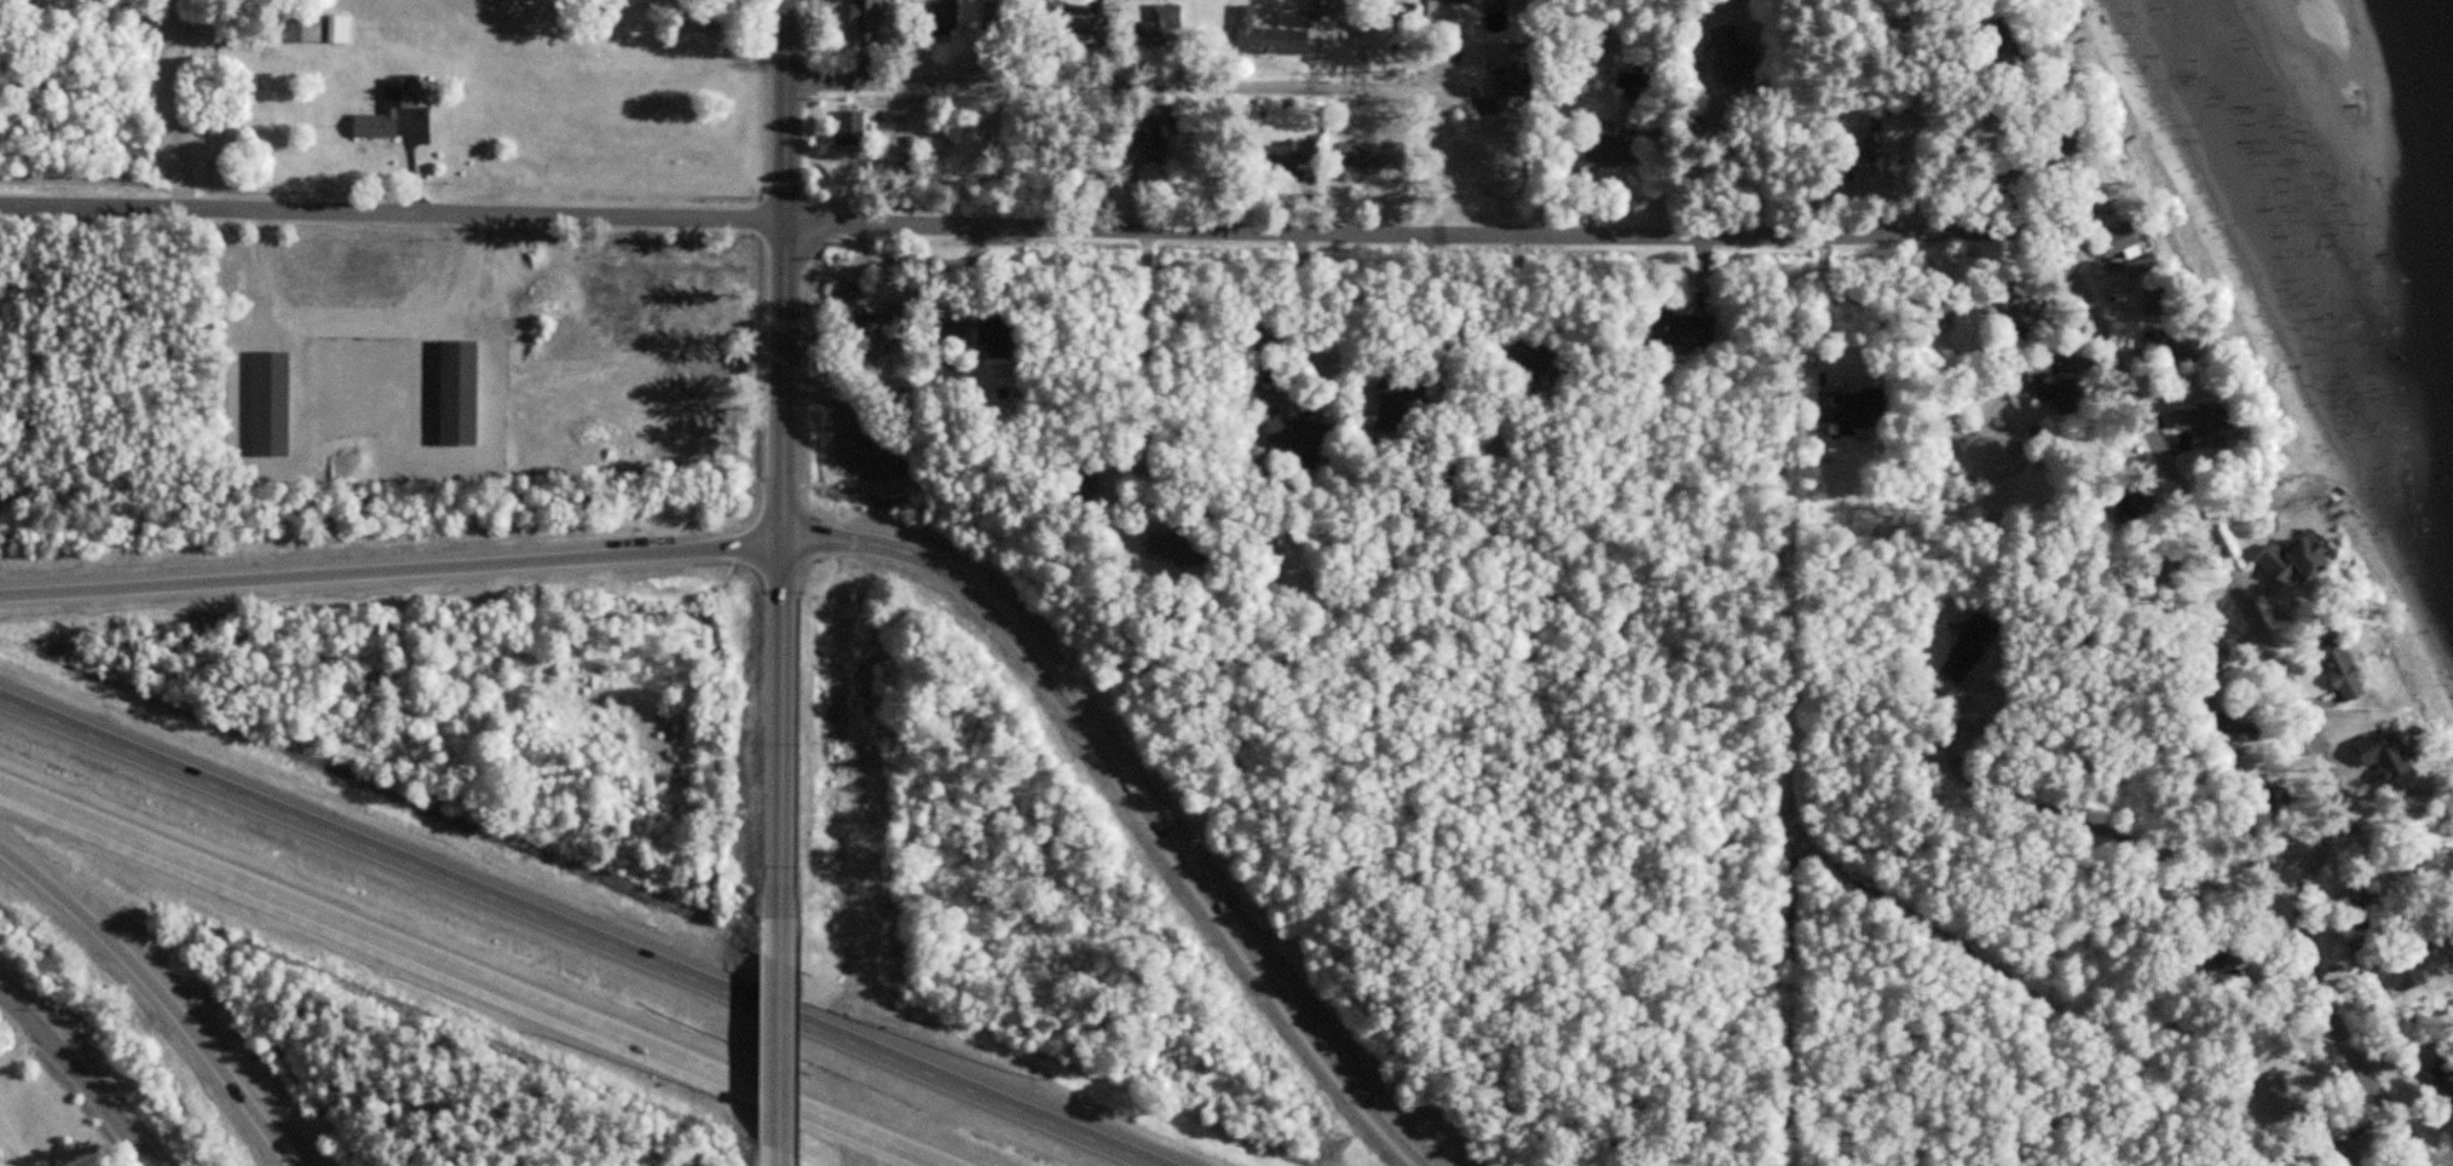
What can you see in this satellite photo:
building: (1323, 7)
building: (998, 15)
building: (941, 18)
building: (868, 21)
building: (1079, 23)
building: (1164, 24)
building: (302, 27)
river: (2446, 28)
building: (341, 29)
building: (1271, 36)
building: (1732, 54)
road: (1132, 86)
building: (394, 112)
building: (853, 128)
building: (1898, 138)
building: (1158, 142)
building: (1612, 149)
building: (1373, 155)
building: (1283, 156)
building: (1487, 166)
road: (394, 213)
road: (1413, 231)
building: (2136, 242)
building: (848, 300)
building: (2169, 302)
building: (2026, 308)
building: (887, 325)
building: (1685, 330)
building: (956, 334)
building: (998, 337)
building: (2172, 347)
building: (1542, 358)
building: (2061, 391)
building: (1403, 402)
building: (1857, 409)
road: (1148, 411)
building: (2214, 425)
building: (1305, 441)
road: (781, 467)
building: (1177, 546)
building: (2304, 559)
road: (389, 570)
building: (1972, 646)
building: (2350, 669)
road: (2293, 692)
building: (2391, 754)
road: (1133, 797)
road: (2032, 801)
building: (2437, 844)
road: (2252, 856)
road: (2379, 881)
road: (581, 933)
building: (2370, 947)
road: (472, 975)
building: (2406, 975)
road: (161, 993)
road: (18, 1034)
road: (780, 1050)
building: (2446, 1070)
road: (79, 1073)
building: (0, 1154)

